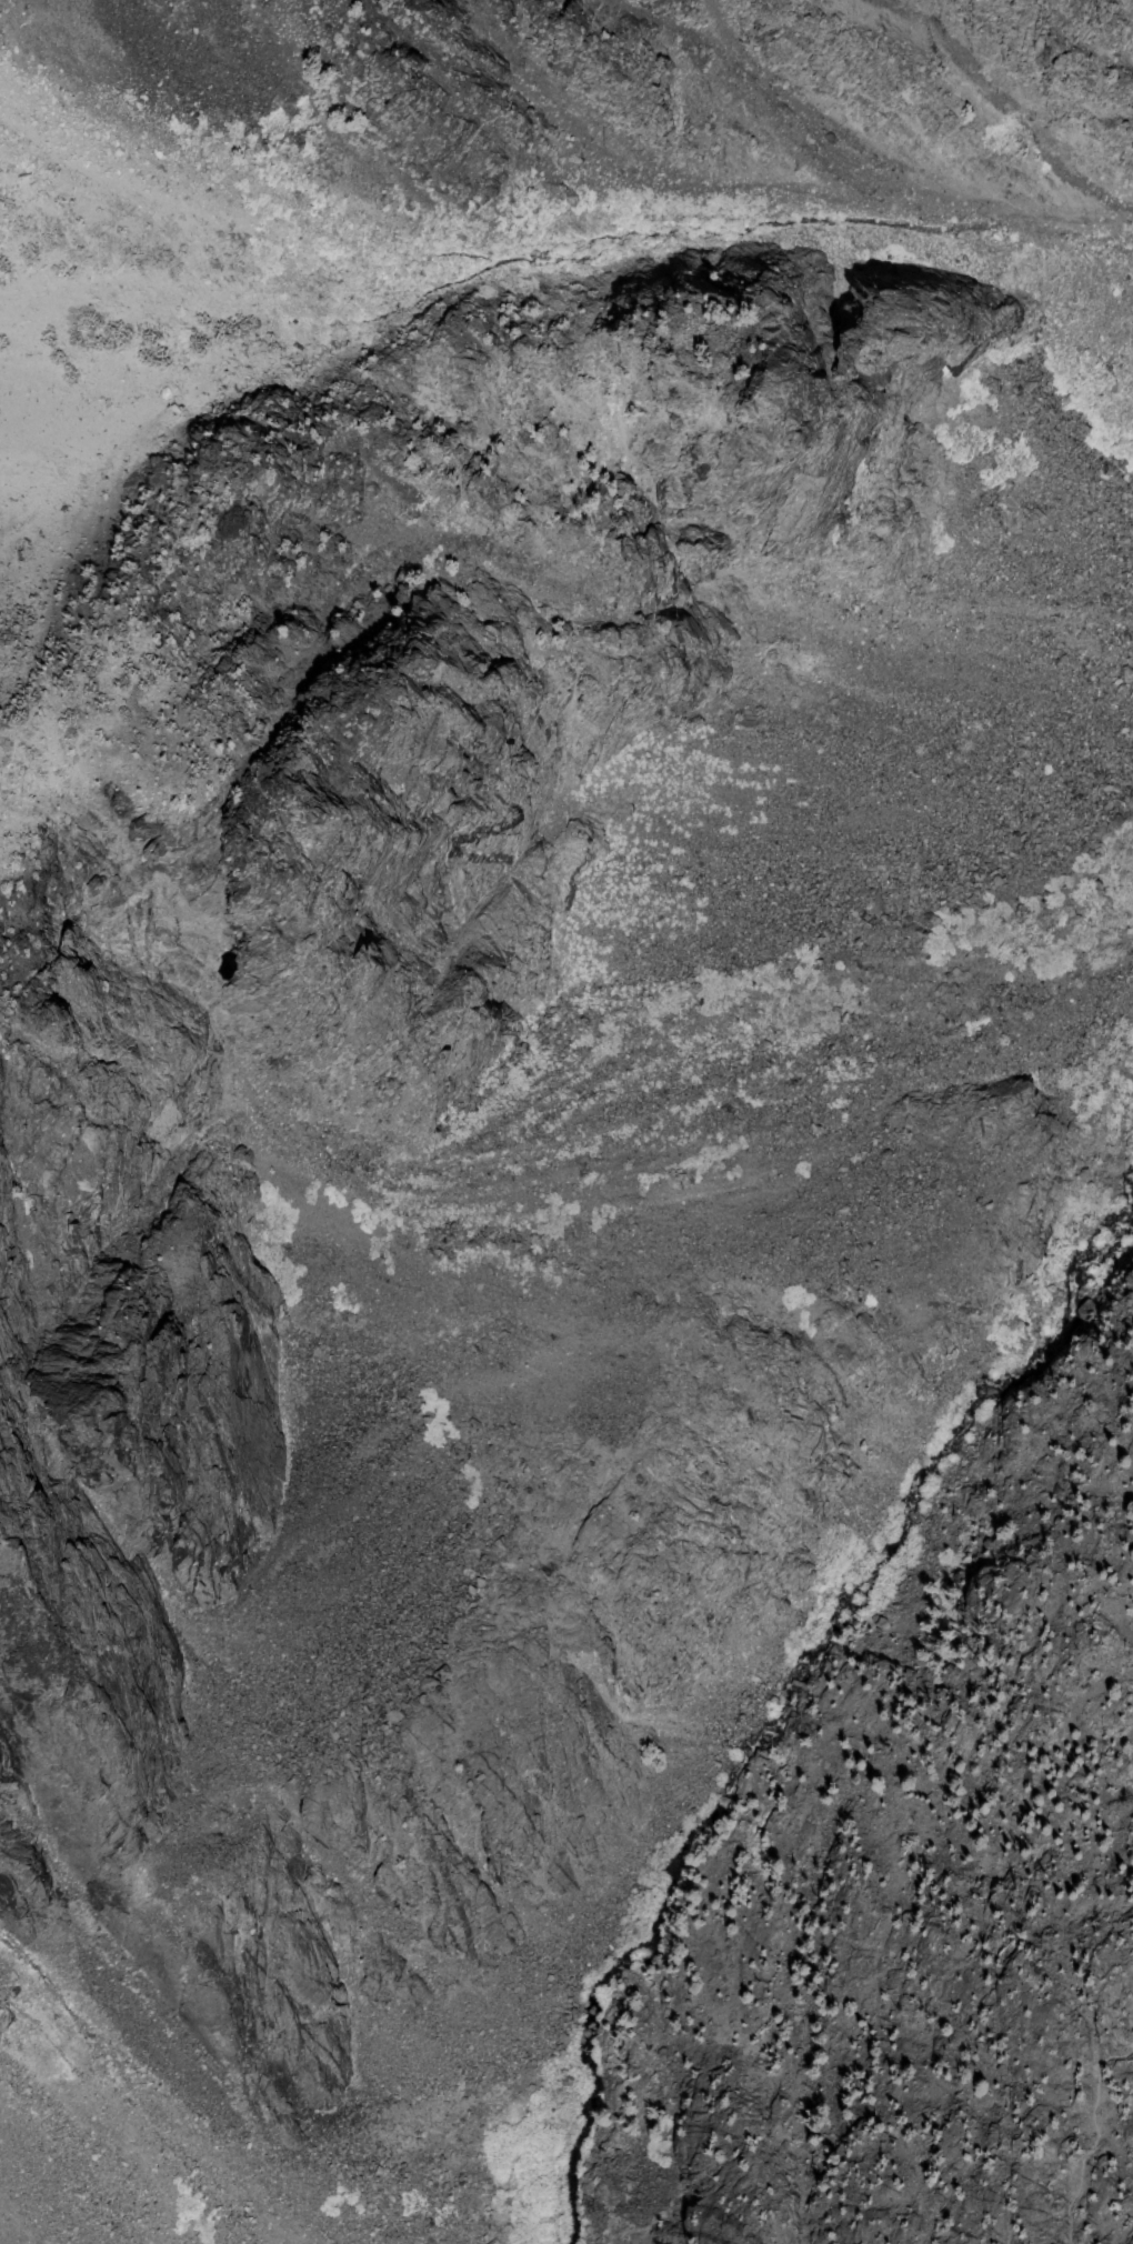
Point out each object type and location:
road: (1093, 2136)

